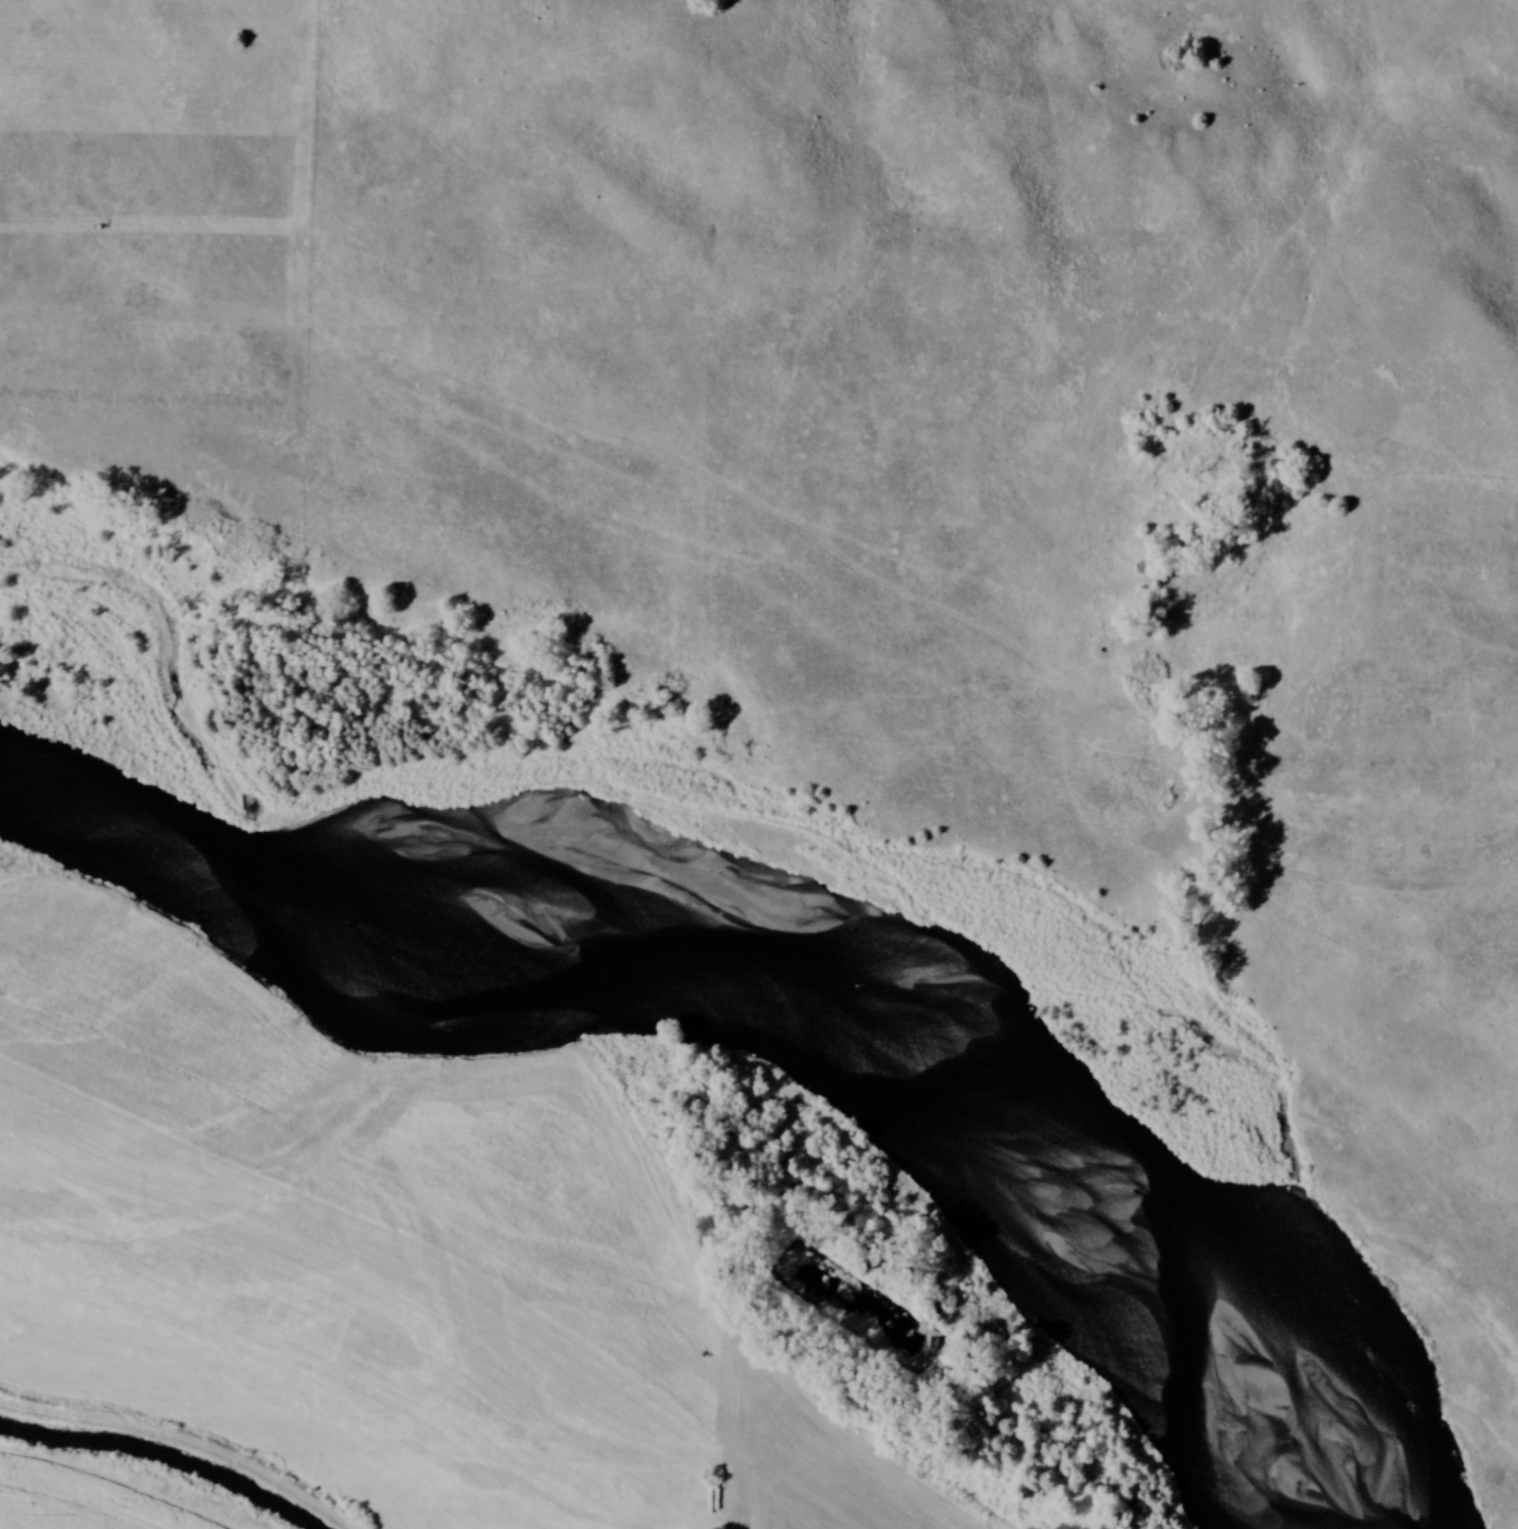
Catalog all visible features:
river: (777, 1001)

